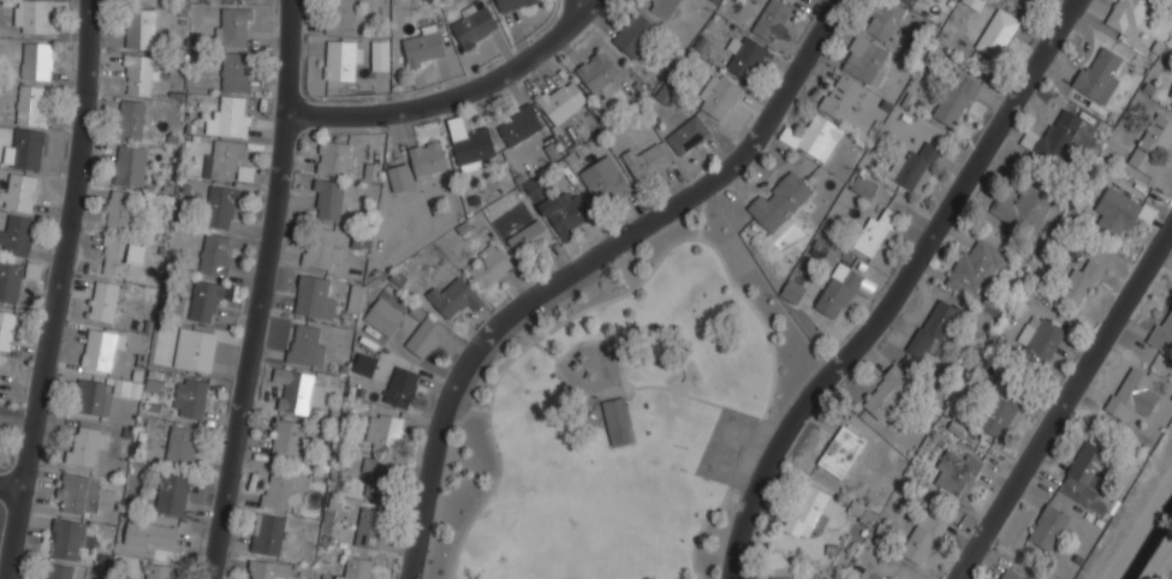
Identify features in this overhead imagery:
building: (132, 0)
building: (718, 0)
building: (792, 1)
building: (910, 1)
building: (512, 4)
building: (975, 4)
road: (582, 5)
building: (664, 7)
building: (1128, 12)
building: (37, 16)
building: (340, 17)
building: (884, 19)
building: (772, 24)
building: (233, 25)
building: (474, 25)
building: (141, 28)
building: (635, 32)
building: (998, 32)
building: (423, 47)
building: (746, 56)
building: (864, 58)
building: (341, 59)
building: (380, 59)
building: (36, 61)
building: (236, 72)
building: (141, 74)
building: (600, 74)
building: (1099, 74)
building: (719, 95)
road: (459, 96)
building: (841, 97)
building: (957, 99)
building: (1170, 100)
building: (564, 103)
building: (31, 105)
building: (131, 120)
building: (518, 126)
building: (689, 135)
building: (815, 136)
building: (1053, 136)
building: (228, 139)
building: (1153, 144)
building: (474, 148)
building: (26, 149)
building: (335, 159)
building: (428, 159)
building: (647, 162)
building: (131, 166)
building: (915, 166)
building: (401, 177)
building: (607, 184)
building: (864, 185)
building: (19, 192)
building: (329, 199)
building: (780, 199)
building: (221, 205)
building: (1024, 205)
building: (121, 209)
building: (565, 213)
building: (1119, 213)
road: (701, 214)
building: (875, 232)
building: (17, 234)
building: (529, 239)
building: (322, 249)
building: (215, 253)
road: (662, 253)
building: (120, 255)
building: (978, 263)
road: (582, 264)
building: (489, 265)
building: (10, 280)
building: (1079, 283)
road: (266, 289)
building: (793, 289)
building: (839, 289)
road: (898, 289)
road: (67, 291)
building: (313, 296)
building: (454, 297)
building: (105, 300)
building: (206, 300)
building: (992, 305)
building: (383, 316)
building: (6, 328)
building: (935, 328)
building: (1164, 333)
building: (426, 338)
road: (530, 339)
building: (1039, 340)
building: (305, 345)
building: (101, 347)
building: (195, 348)
building: (364, 364)
building: (1, 369)
building: (400, 387)
building: (298, 389)
road: (609, 392)
building: (887, 392)
building: (1132, 394)
building: (94, 396)
building: (190, 398)
road: (695, 398)
road: (466, 407)
road: (1069, 412)
building: (997, 416)
park: (623, 418)
building: (618, 419)
building: (385, 429)
building: (287, 441)
building: (85, 446)
building: (182, 446)
park: (722, 448)
building: (841, 452)
building: (957, 473)
building: (377, 477)
building: (1089, 477)
road: (10, 488)
building: (279, 489)
building: (84, 493)
building: (173, 494)
building: (808, 512)
building: (862, 513)
building: (1048, 526)
building: (369, 527)
building: (268, 533)
building: (150, 535)
building: (69, 538)
building: (924, 538)
building: (357, 568)
building: (268, 569)
building: (56, 571)
building: (160, 571)
building: (1012, 574)
building: (871, 575)
building: (783, 578)

